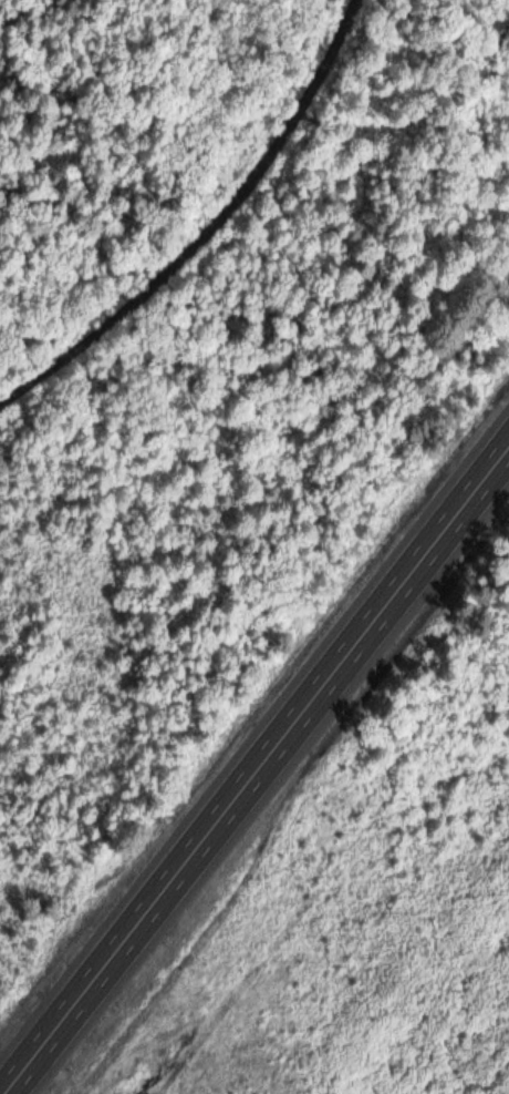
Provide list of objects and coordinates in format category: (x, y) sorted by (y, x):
road: (209, 229)
road: (257, 774)
airport: (394, 947)

